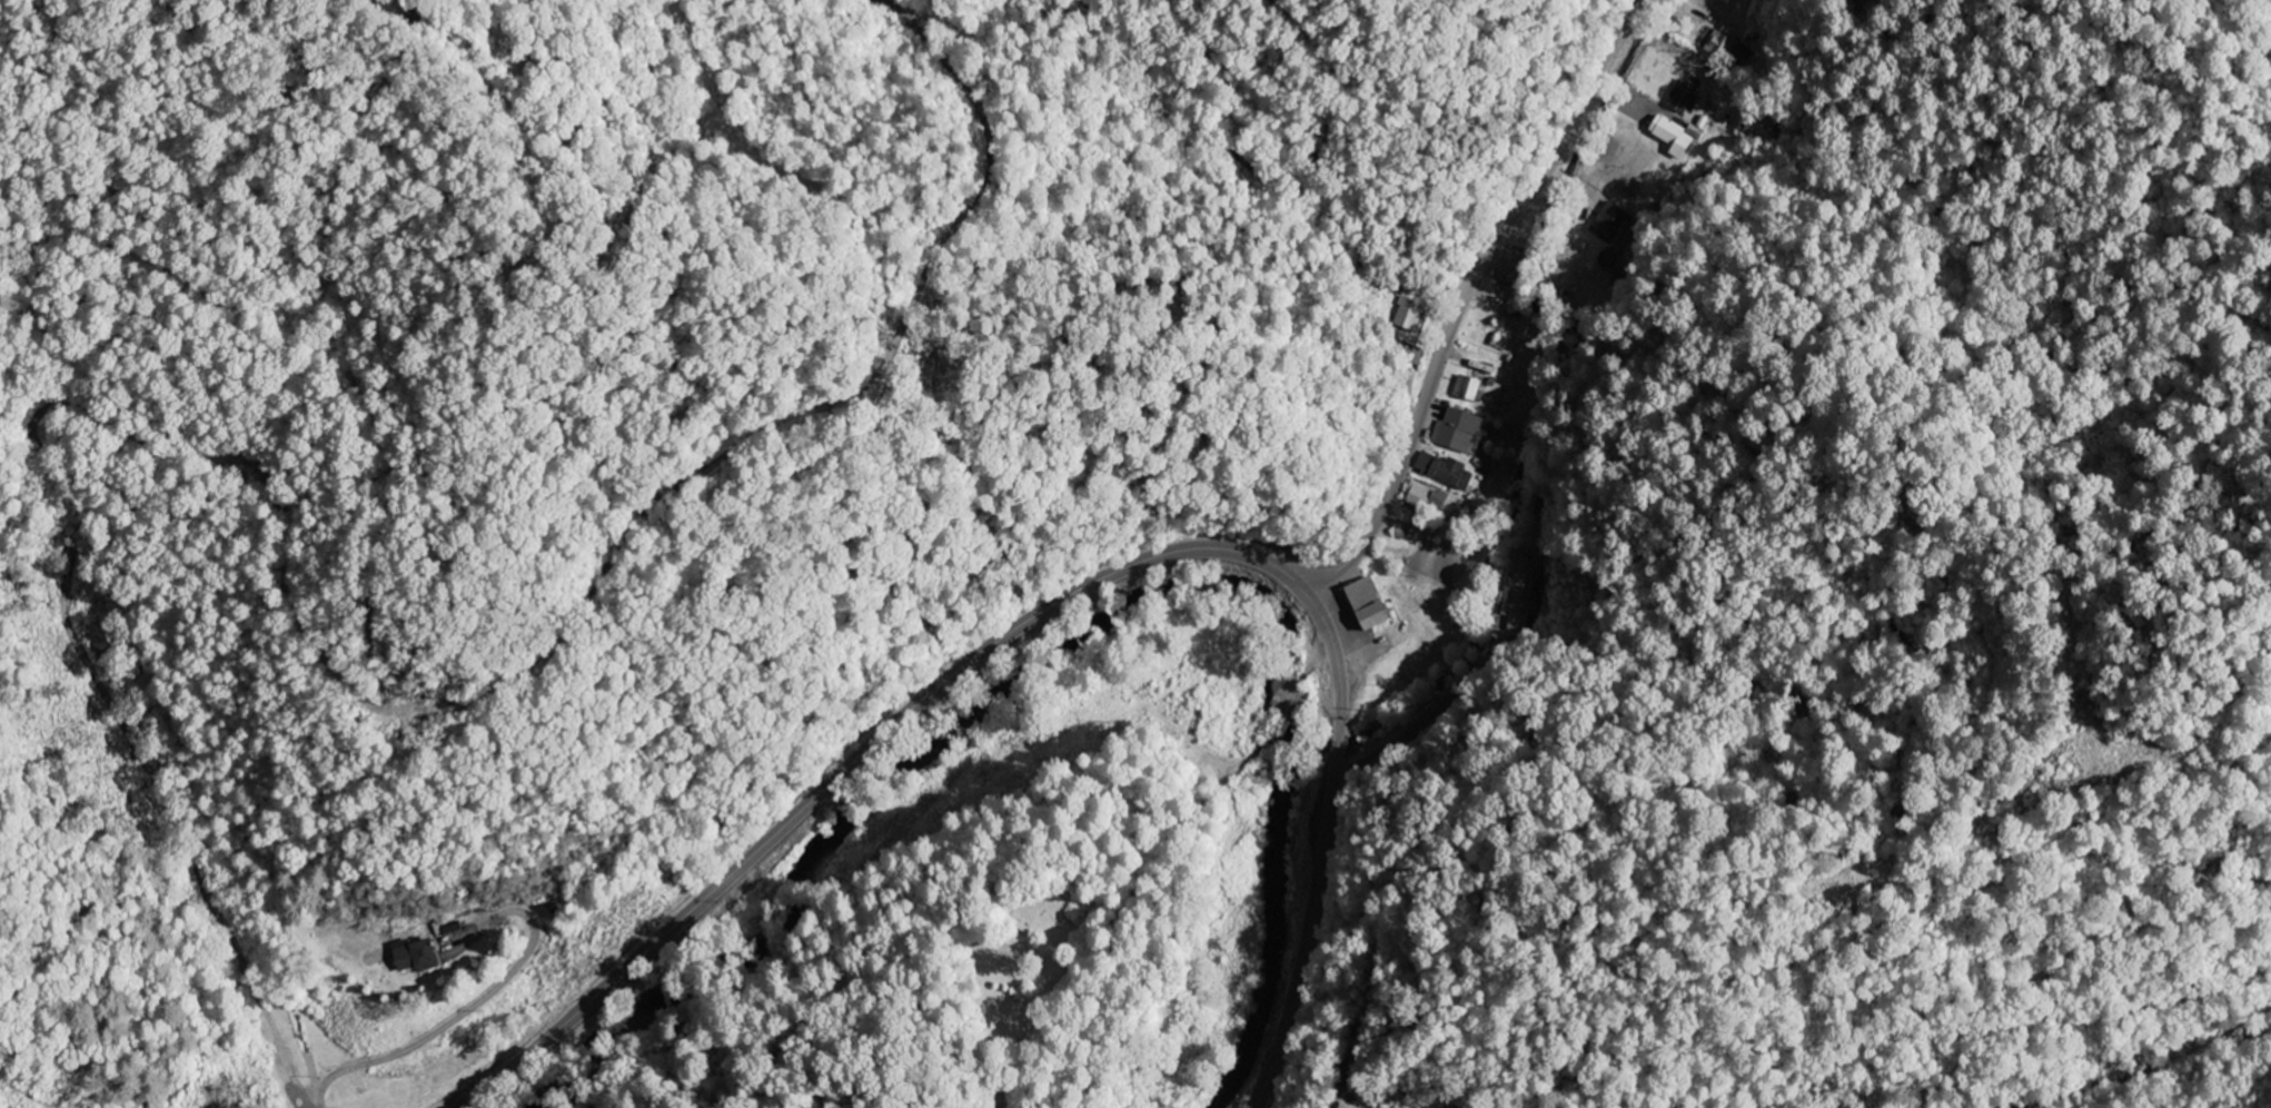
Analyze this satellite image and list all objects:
building: (1729, 46)
building: (1682, 98)
building: (1757, 127)
building: (1672, 137)
building: (1608, 225)
building: (1507, 268)
road: (1462, 297)
building: (1408, 315)
building: (1412, 356)
building: (1465, 389)
building: (1457, 432)
building: (1442, 472)
building: (1424, 498)
building: (1359, 595)
building: (1516, 596)
road: (1065, 598)
building: (1369, 619)
building: (411, 956)

